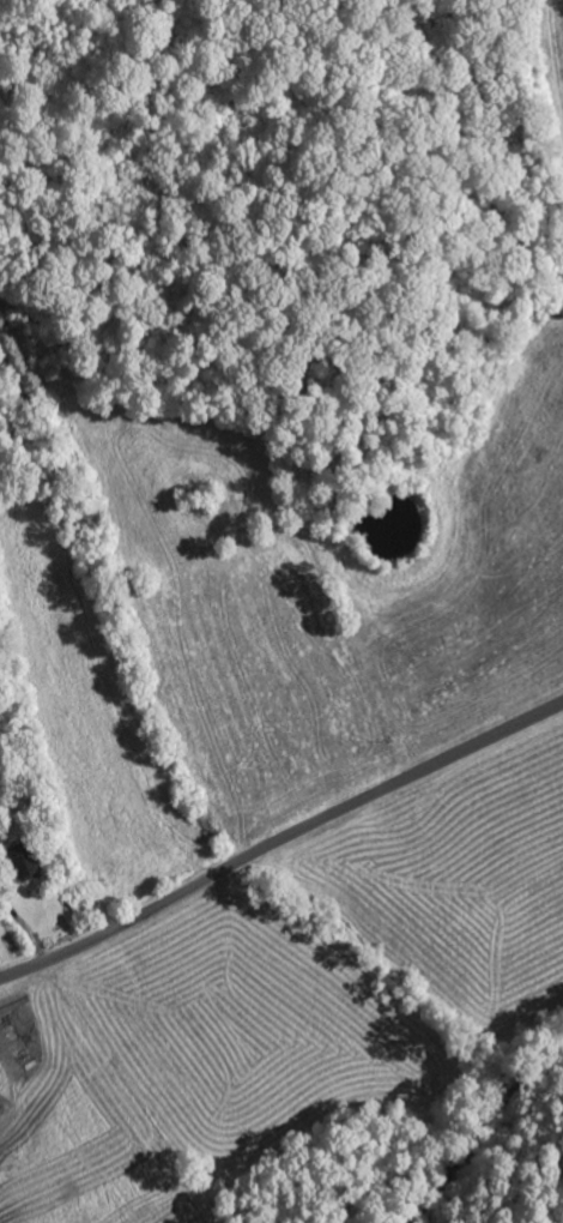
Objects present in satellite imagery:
road: (280, 837)
building: (18, 866)

